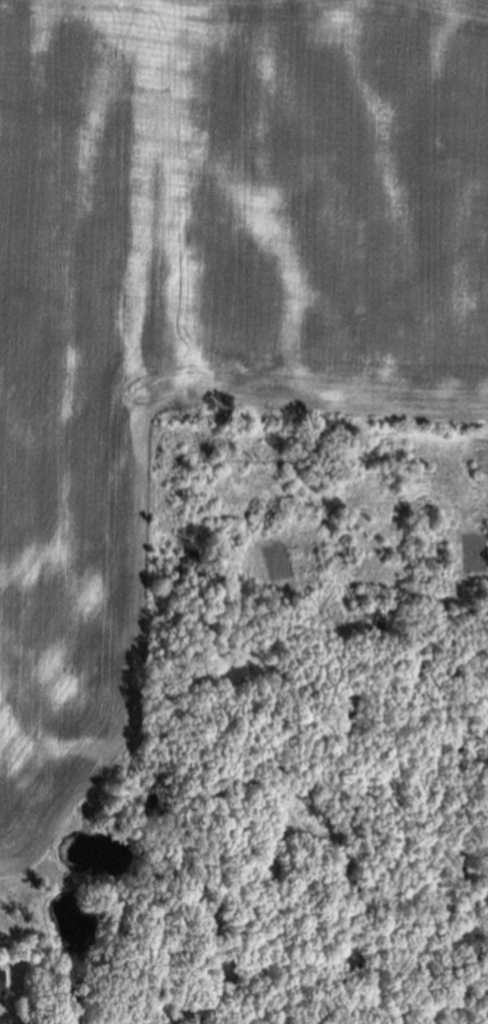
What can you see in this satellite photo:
building: (2, 981)

